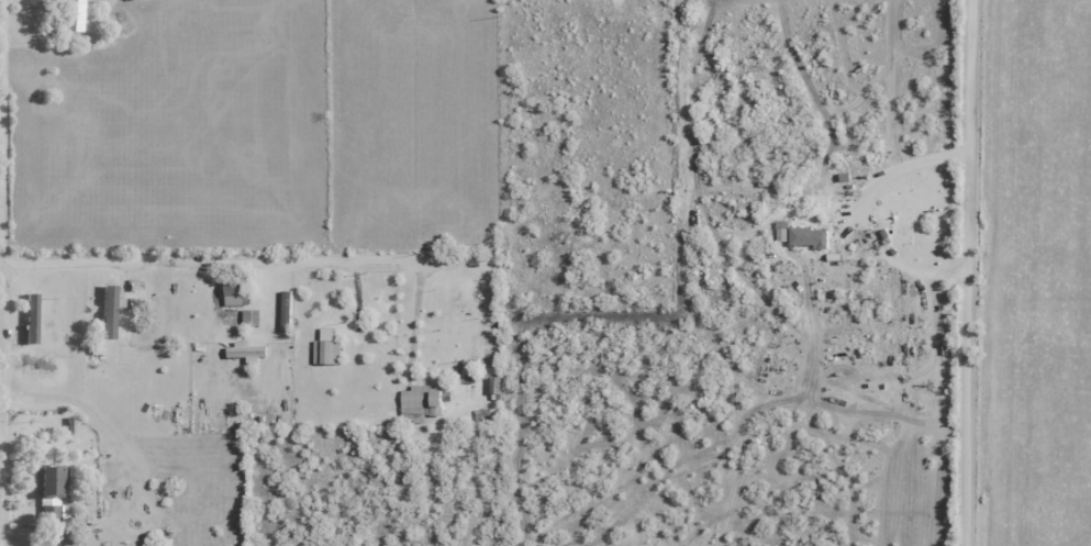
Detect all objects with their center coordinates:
building: (70, 15)
road: (868, 214)
building: (809, 237)
road: (263, 263)
road: (5, 271)
road: (969, 272)
building: (237, 293)
building: (287, 311)
building: (108, 313)
building: (422, 401)
building: (51, 482)
building: (52, 514)
building: (65, 538)
road: (11, 544)

